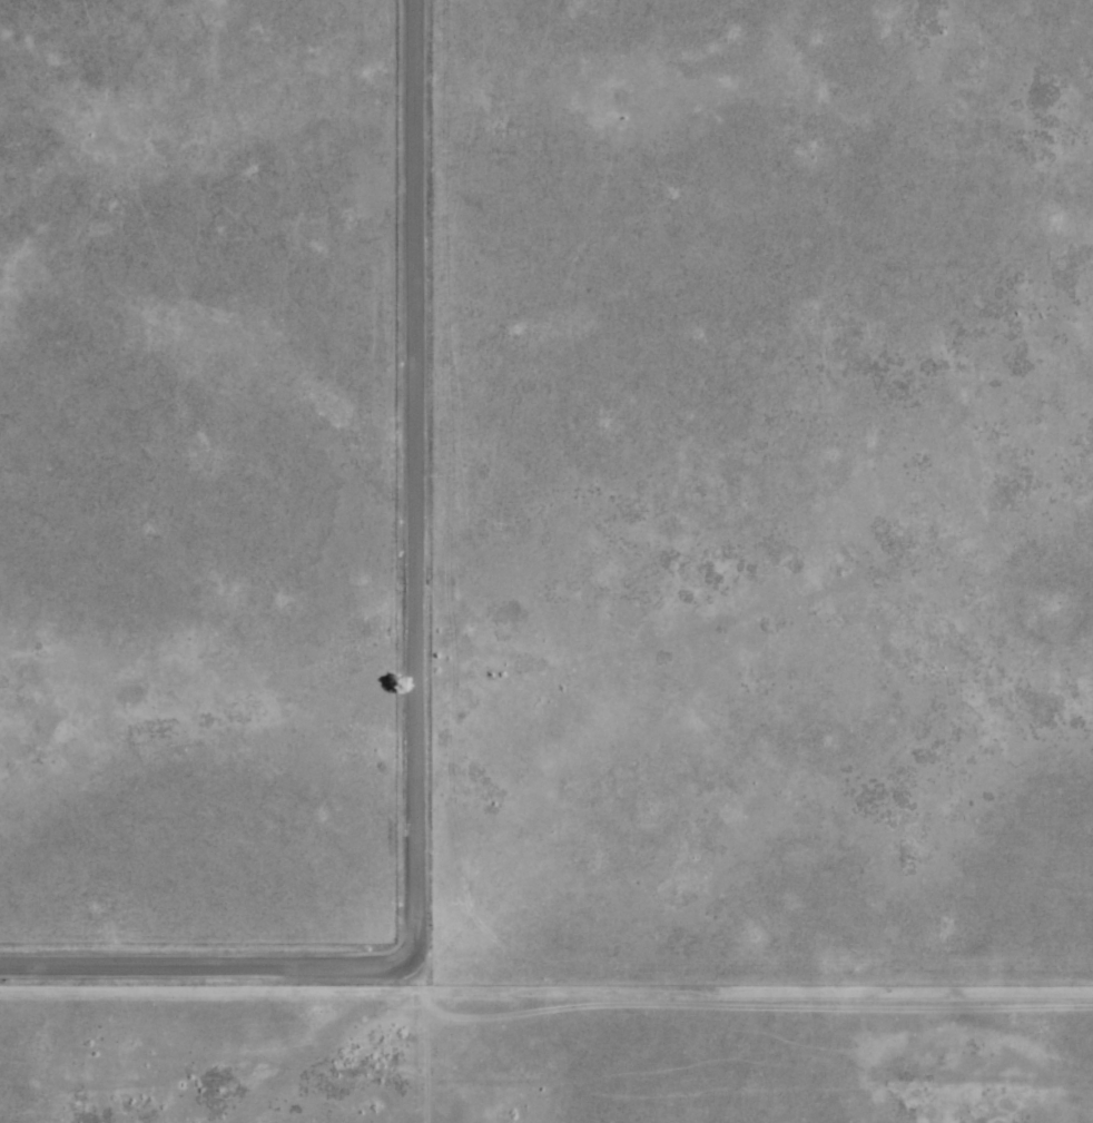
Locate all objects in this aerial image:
road: (424, 683)

